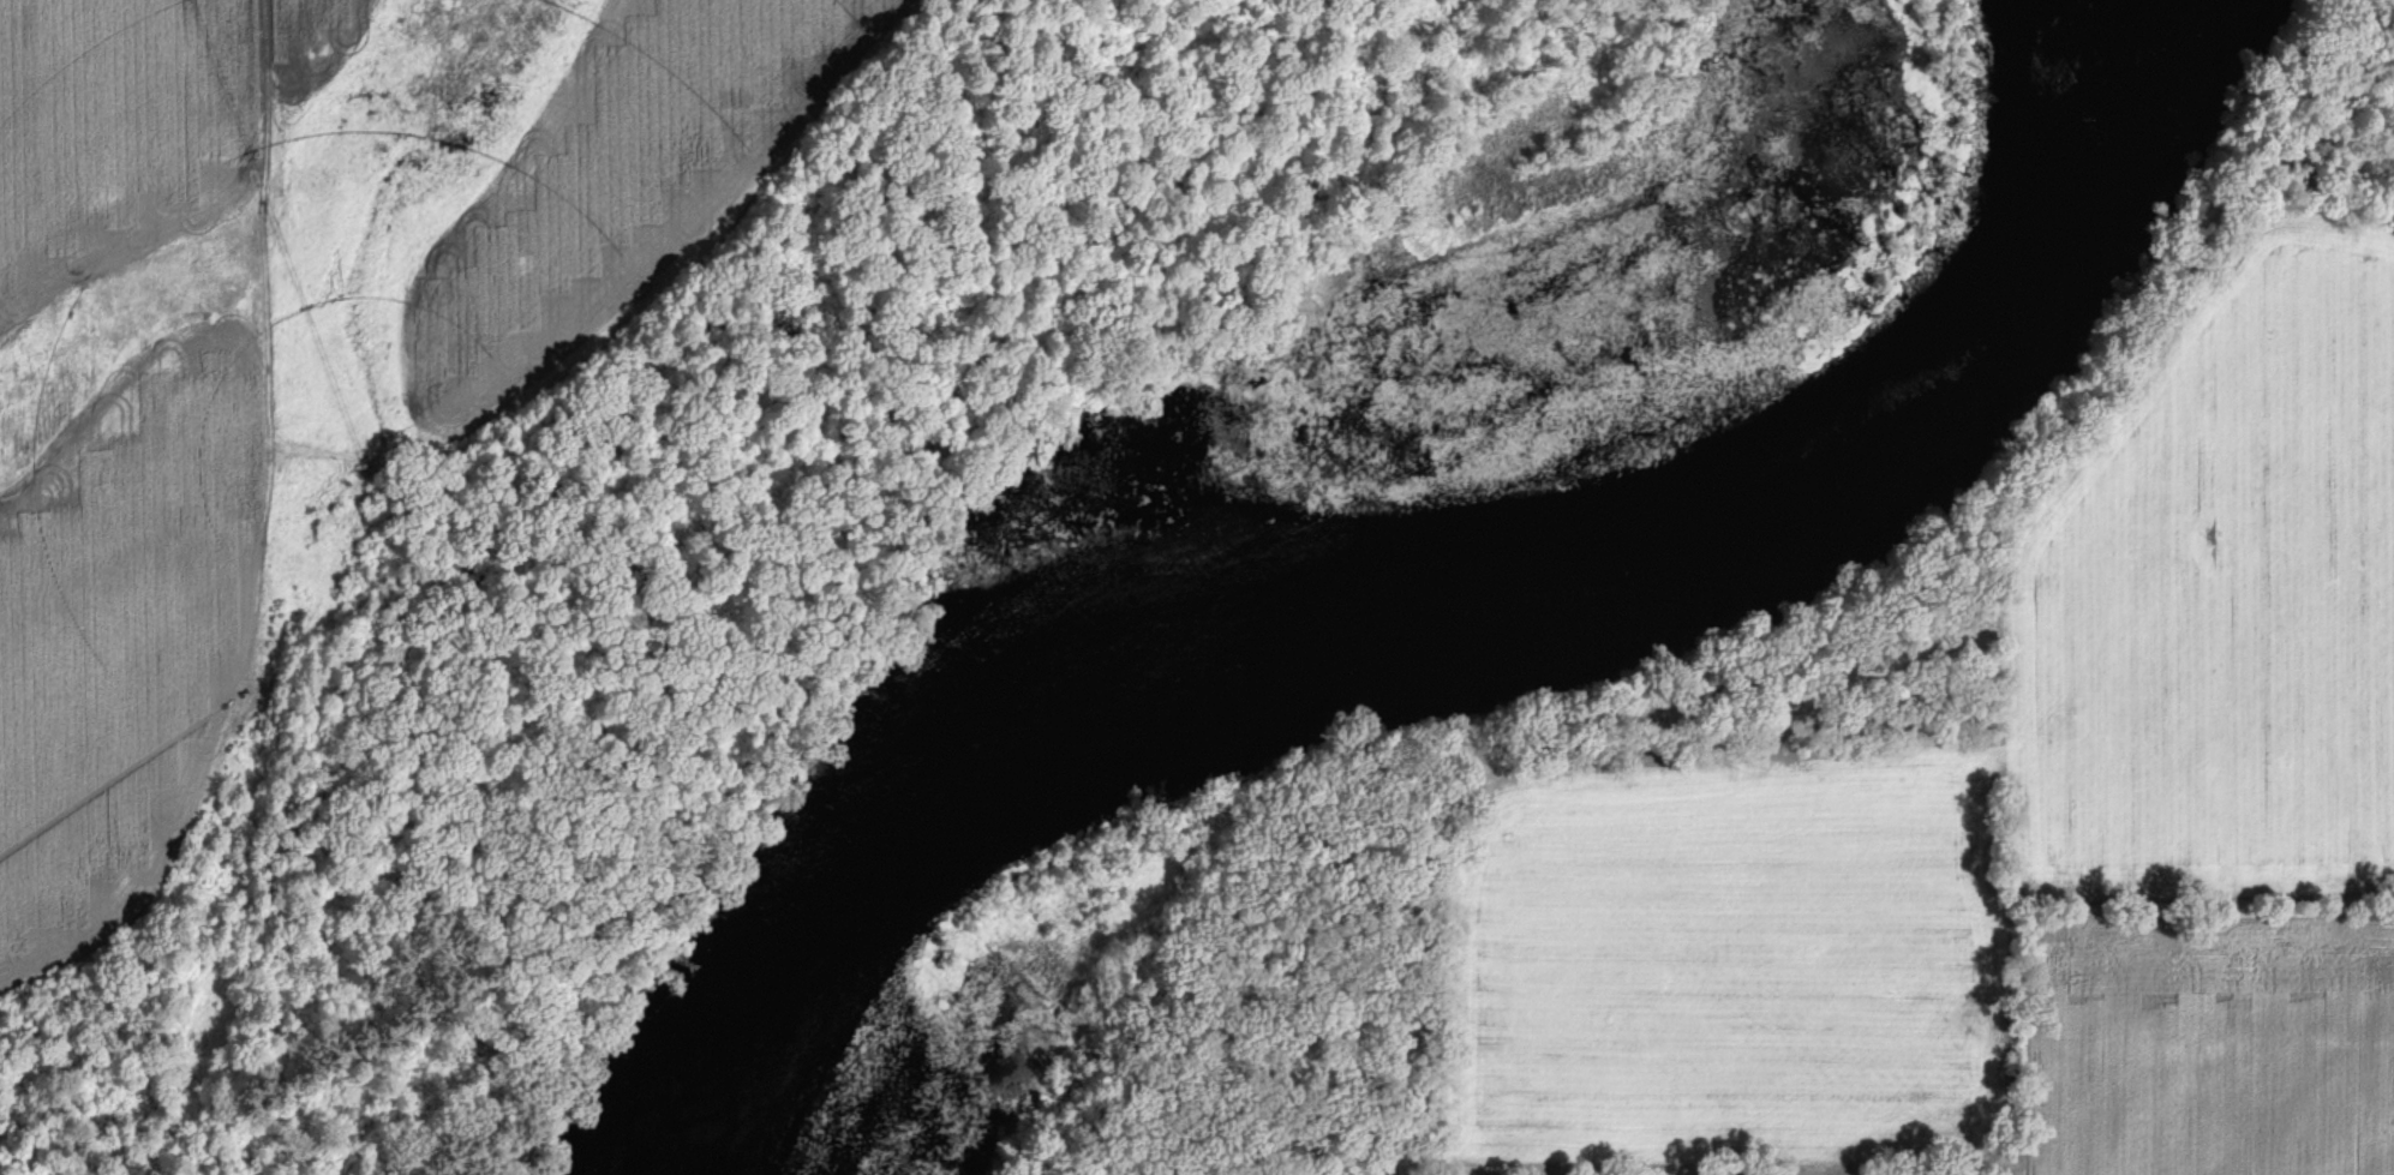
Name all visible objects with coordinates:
river: (1418, 545)

